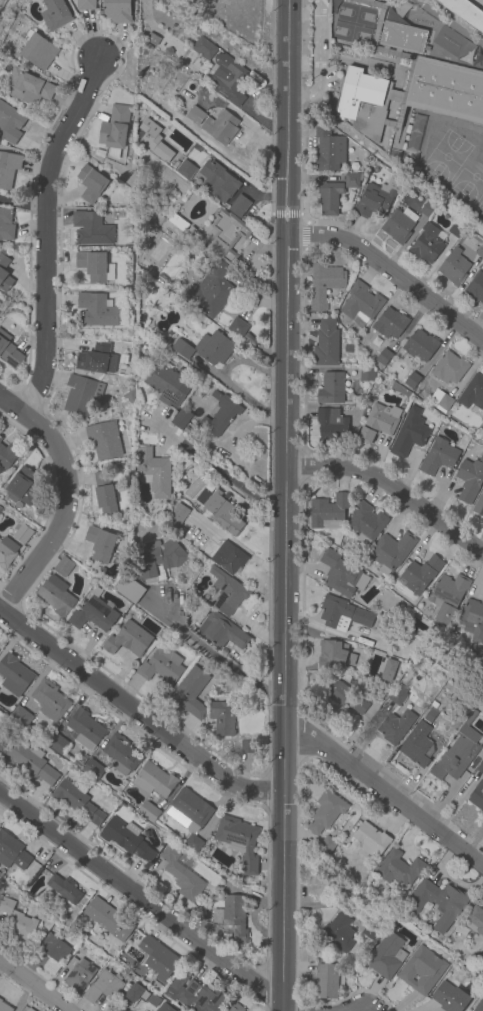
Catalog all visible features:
building: (85, 5)
building: (117, 11)
building: (465, 13)
building: (56, 14)
park: (354, 14)
park: (349, 33)
building: (153, 39)
building: (203, 48)
building: (37, 49)
building: (5, 64)
building: (227, 78)
building: (408, 83)
building: (28, 87)
building: (195, 115)
building: (10, 123)
building: (221, 127)
building: (115, 129)
building: (141, 136)
building: (328, 150)
park: (445, 157)
building: (8, 169)
building: (352, 181)
building: (213, 182)
building: (91, 184)
park: (466, 186)
building: (350, 197)
building: (330, 198)
building: (378, 198)
road: (22, 203)
park: (480, 205)
building: (427, 210)
road: (284, 213)
building: (6, 225)
building: (399, 225)
building: (183, 226)
building: (455, 228)
building: (92, 229)
road: (44, 232)
building: (228, 234)
road: (303, 236)
building: (427, 245)
building: (479, 251)
building: (95, 266)
building: (455, 268)
building: (4, 270)
road: (389, 270)
building: (324, 285)
building: (475, 289)
building: (212, 290)
building: (362, 304)
building: (96, 310)
building: (390, 324)
building: (238, 327)
building: (327, 344)
building: (421, 346)
building: (207, 348)
building: (9, 352)
building: (383, 357)
building: (98, 358)
building: (450, 368)
building: (367, 375)
building: (408, 377)
building: (166, 384)
building: (332, 388)
building: (348, 388)
building: (472, 392)
building: (81, 394)
building: (441, 401)
building: (221, 415)
building: (182, 419)
building: (379, 423)
building: (331, 428)
building: (410, 433)
building: (0, 438)
building: (104, 439)
building: (482, 439)
building: (7, 454)
building: (438, 457)
building: (189, 469)
building: (153, 472)
building: (470, 479)
road: (235, 483)
building: (22, 487)
road: (391, 487)
building: (104, 492)
road: (66, 499)
road: (283, 505)
building: (479, 505)
building: (1, 506)
building: (220, 510)
building: (329, 511)
building: (178, 515)
building: (366, 523)
building: (22, 534)
building: (209, 542)
building: (100, 544)
building: (391, 551)
building: (7, 552)
building: (158, 558)
building: (233, 560)
building: (64, 566)
building: (421, 574)
building: (342, 575)
building: (129, 588)
building: (228, 591)
building: (56, 595)
building: (448, 596)
building: (94, 612)
building: (342, 614)
building: (473, 619)
building: (222, 631)
building: (128, 640)
road: (213, 652)
building: (334, 655)
building: (162, 666)
building: (389, 671)
building: (14, 675)
building: (190, 692)
building: (396, 695)
building: (347, 697)
building: (49, 700)
building: (434, 704)
road: (136, 715)
building: (430, 715)
building: (21, 717)
building: (223, 717)
building: (395, 726)
building: (85, 729)
building: (2, 740)
building: (58, 744)
building: (418, 745)
building: (246, 746)
building: (121, 754)
building: (455, 755)
building: (79, 760)
building: (30, 762)
building: (481, 767)
building: (93, 769)
building: (155, 780)
road: (385, 792)
building: (477, 796)
building: (77, 800)
building: (148, 811)
building: (190, 811)
building: (327, 812)
building: (126, 838)
building: (371, 839)
building: (240, 842)
building: (194, 844)
building: (325, 848)
building: (12, 852)
building: (398, 869)
building: (182, 874)
building: (64, 889)
road: (138, 897)
building: (438, 902)
building: (108, 918)
building: (233, 918)
building: (475, 919)
building: (17, 920)
building: (48, 922)
building: (65, 922)
building: (369, 931)
building: (340, 933)
building: (52, 951)
building: (387, 957)
building: (158, 958)
building: (480, 966)
building: (423, 970)
building: (78, 974)
building: (327, 980)
building: (133, 985)
building: (103, 986)
road: (32, 987)
building: (196, 994)
building: (450, 998)
building: (479, 1006)
building: (4, 1007)
building: (163, 1007)
building: (234, 1007)
building: (29, 1009)

